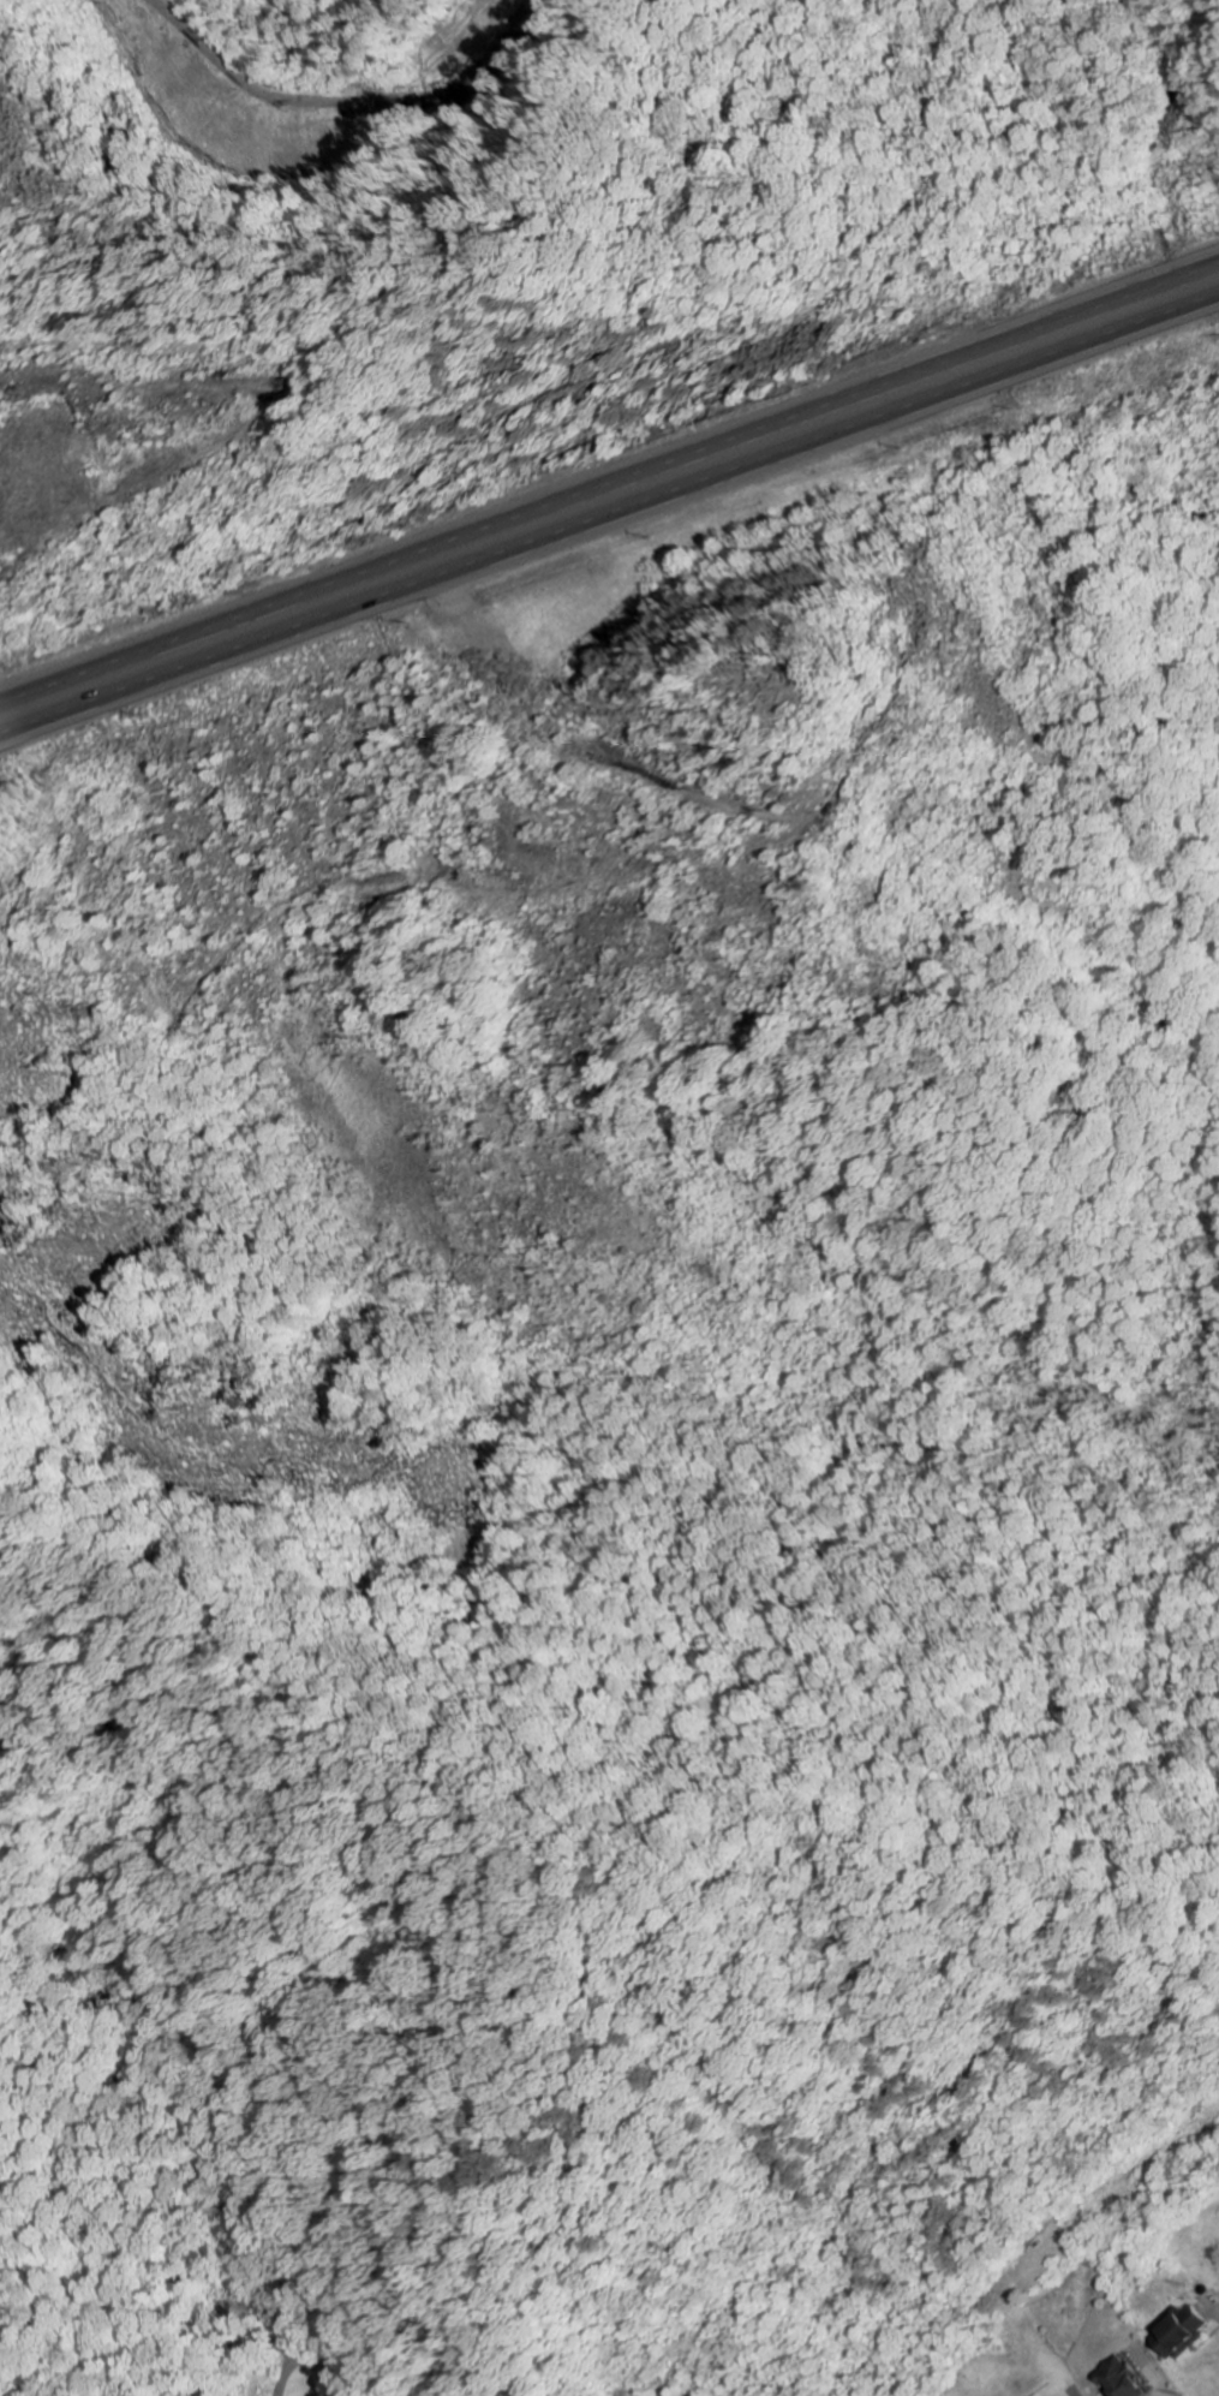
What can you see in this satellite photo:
road: (609, 477)
road: (609, 518)
building: (1184, 2332)
road: (353, 2367)
building: (1125, 2380)

